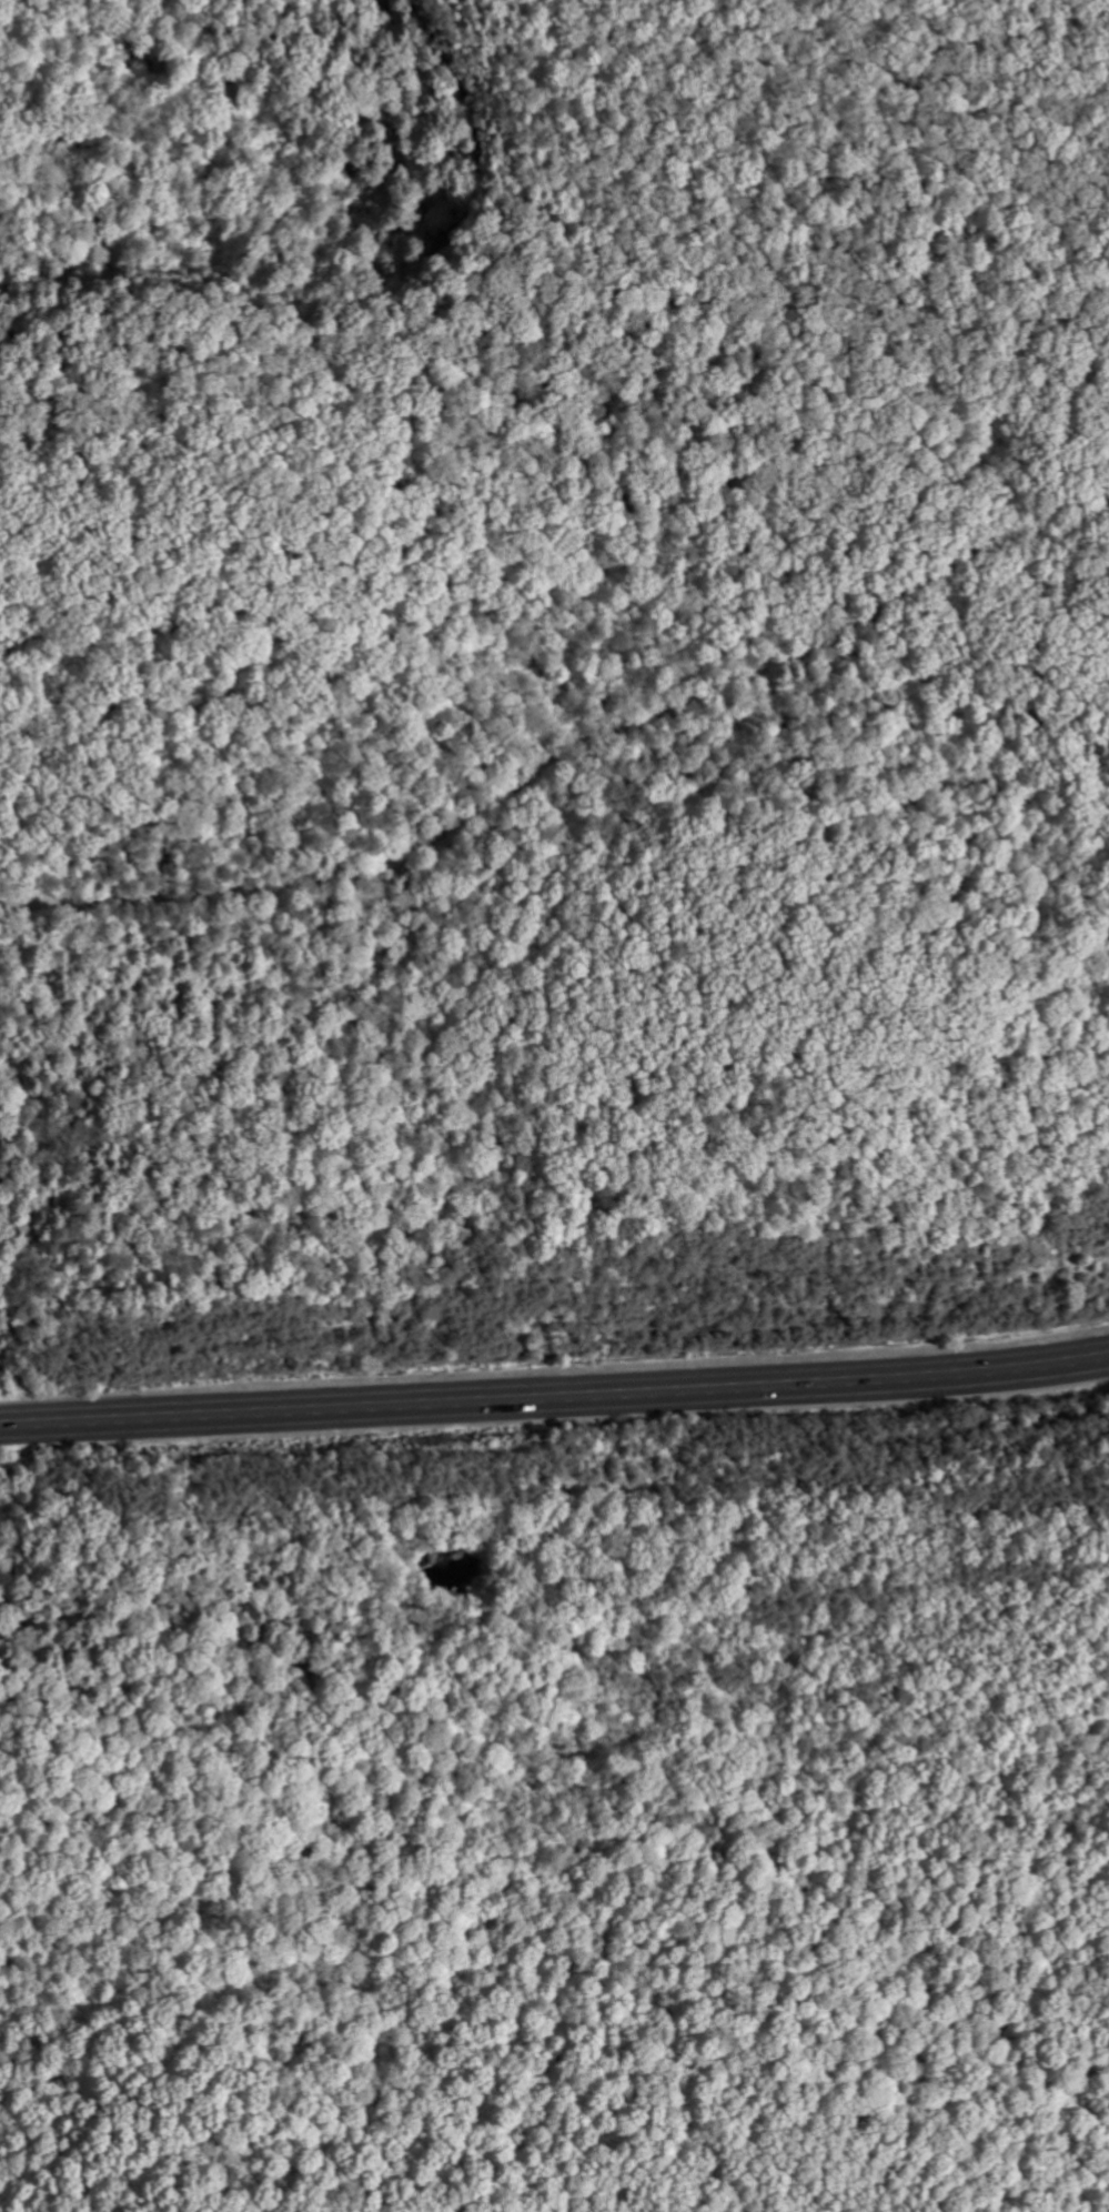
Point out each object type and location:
road: (1107, 1)
road: (554, 1396)

